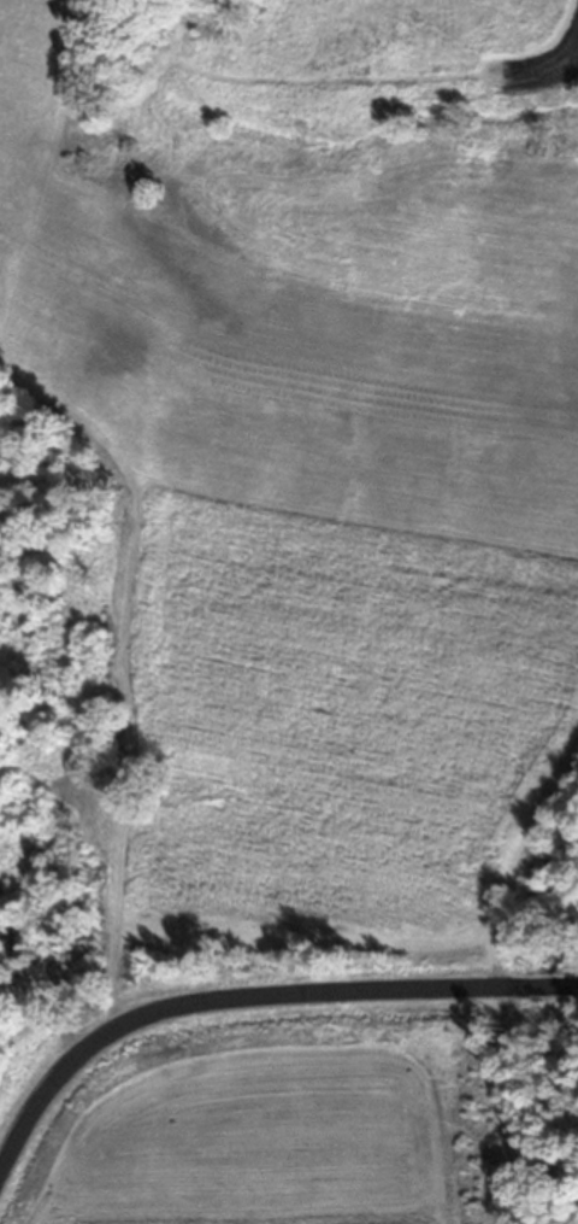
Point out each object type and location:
road: (254, 989)

